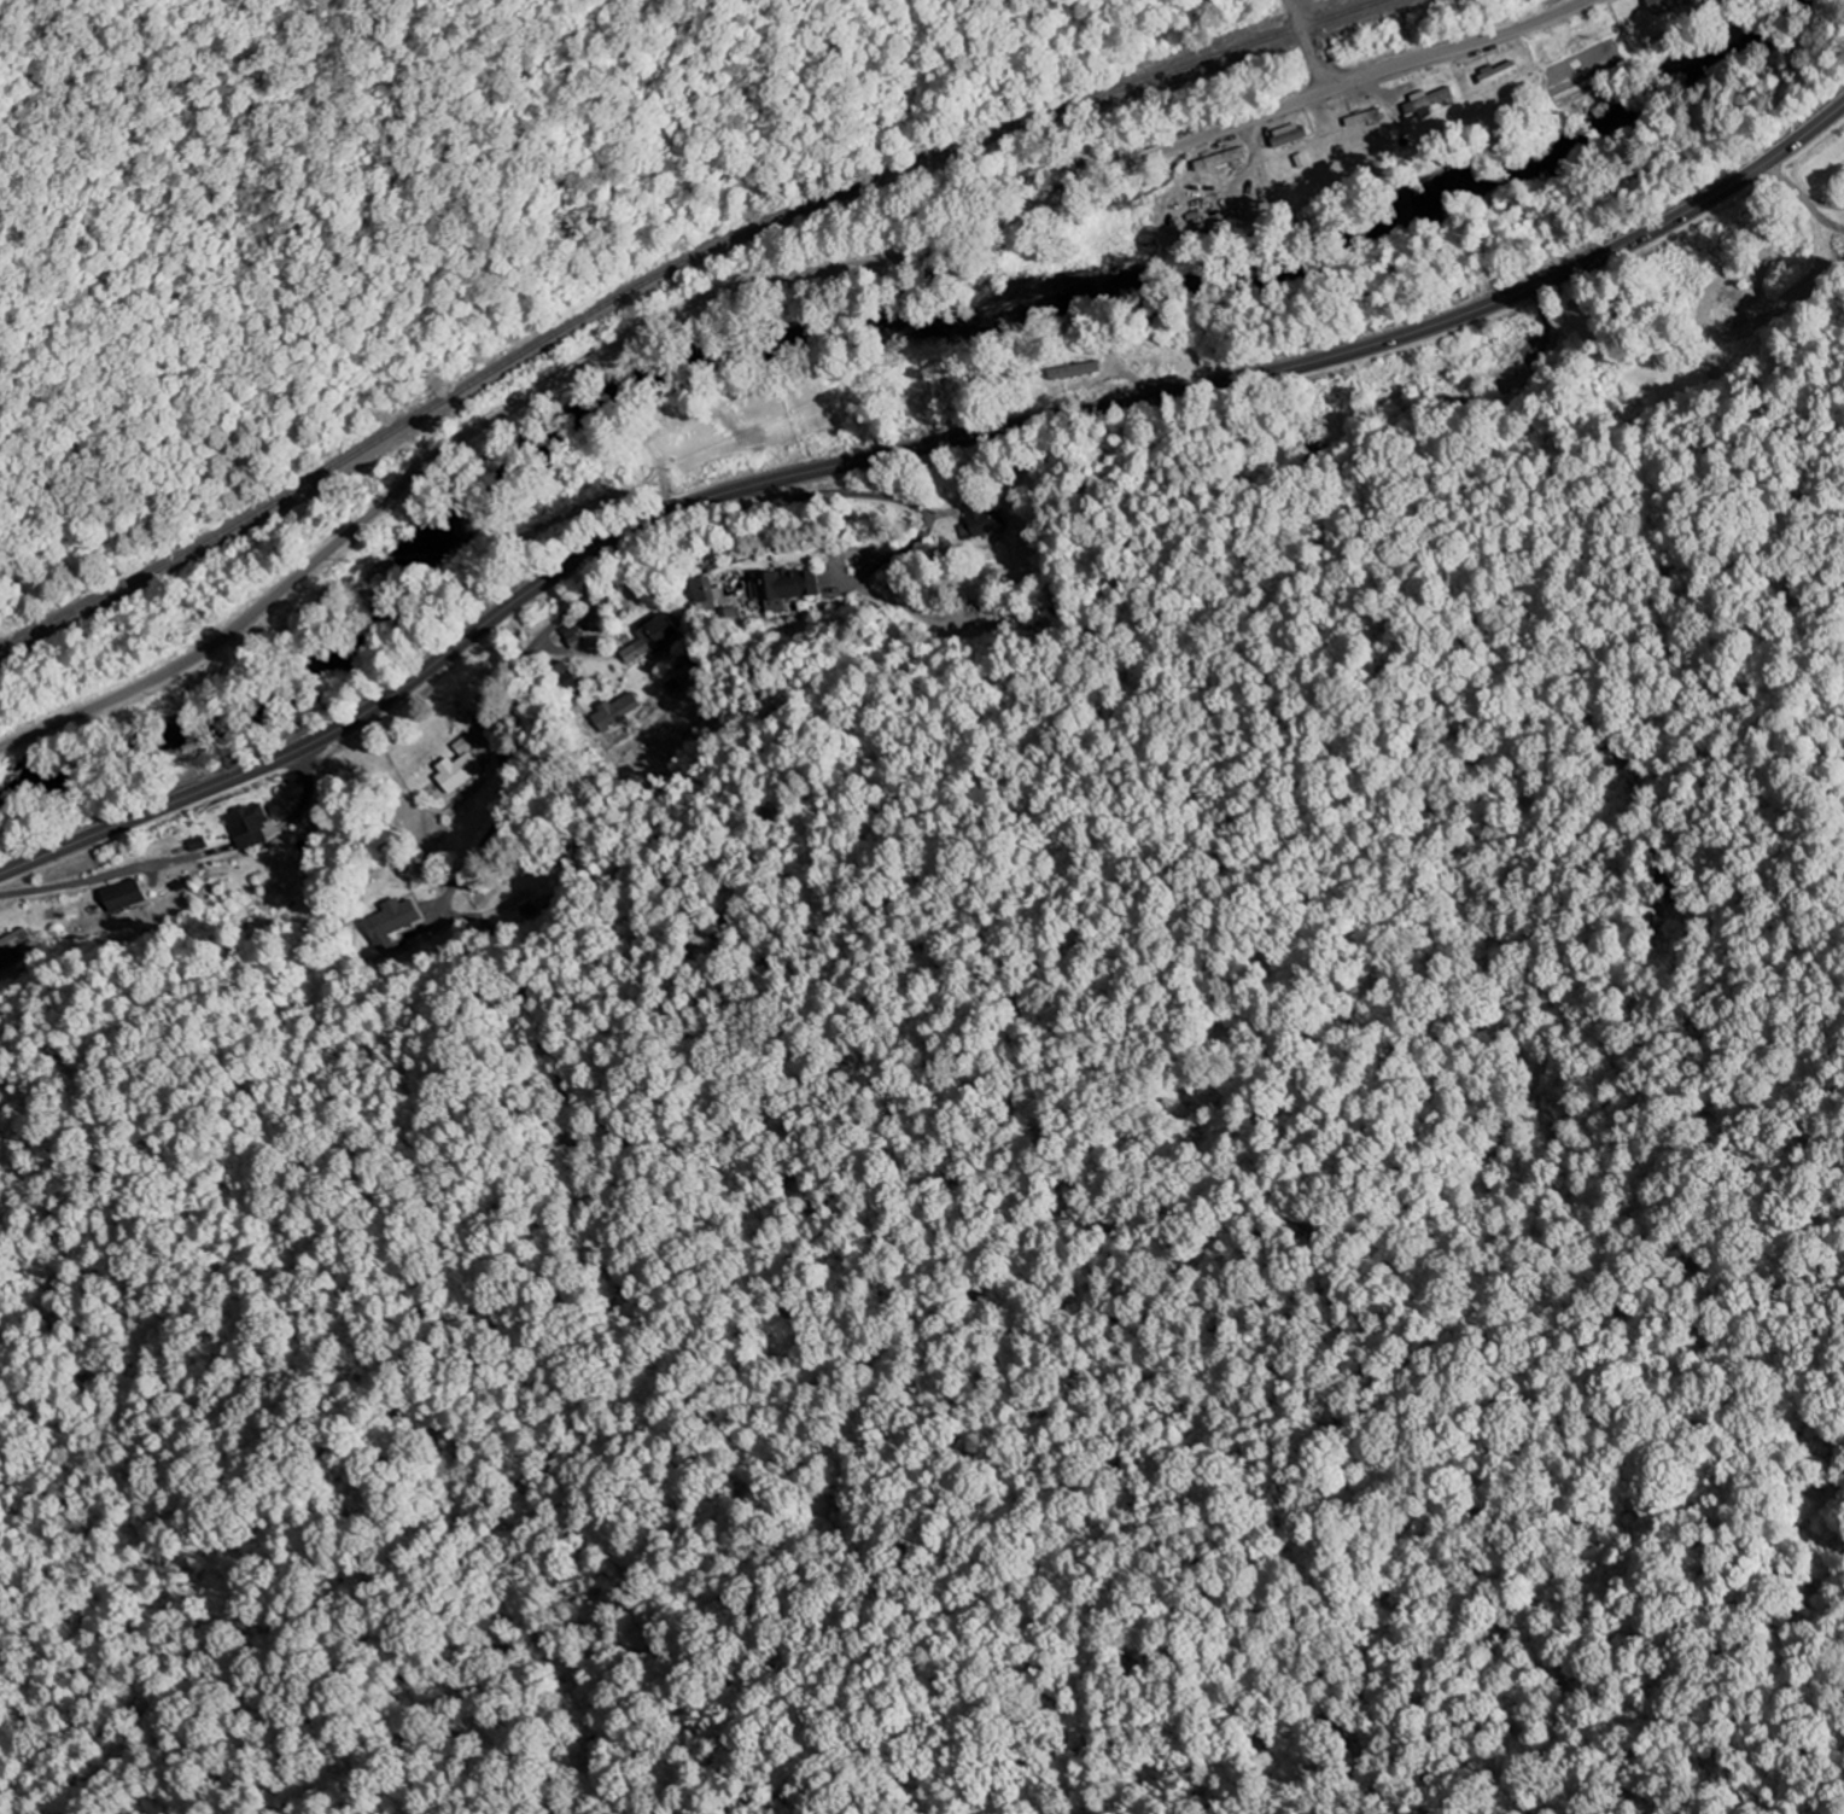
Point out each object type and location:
building: (1664, 4)
road: (1308, 41)
building: (1434, 103)
building: (1292, 136)
railway: (665, 272)
road: (748, 282)
road: (906, 451)
road: (876, 496)
building: (986, 520)
building: (783, 590)
building: (707, 594)
building: (653, 638)
road: (504, 705)
building: (618, 712)
building: (459, 775)
building: (250, 827)
road: (263, 835)
road: (78, 885)
building: (124, 897)
building: (391, 923)
building: (16, 943)

